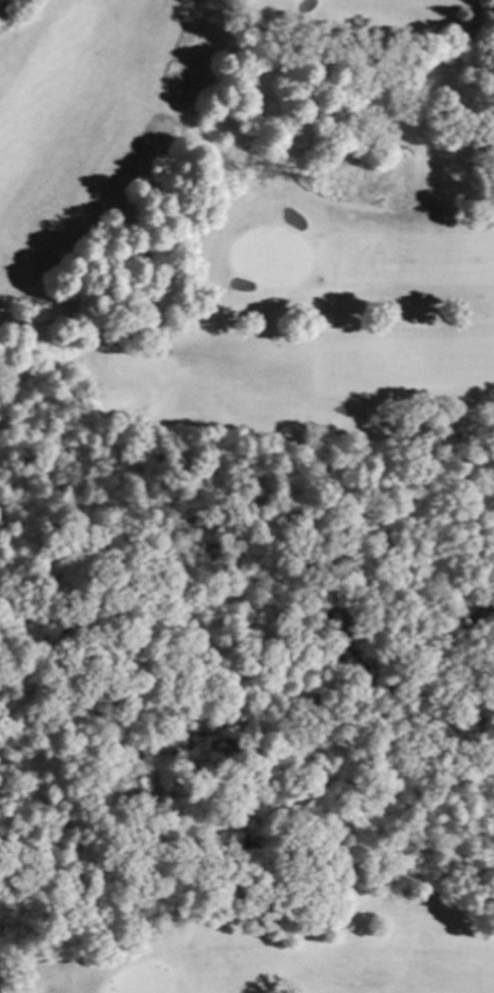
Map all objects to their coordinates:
park: (247, 496)
park: (247, 496)

